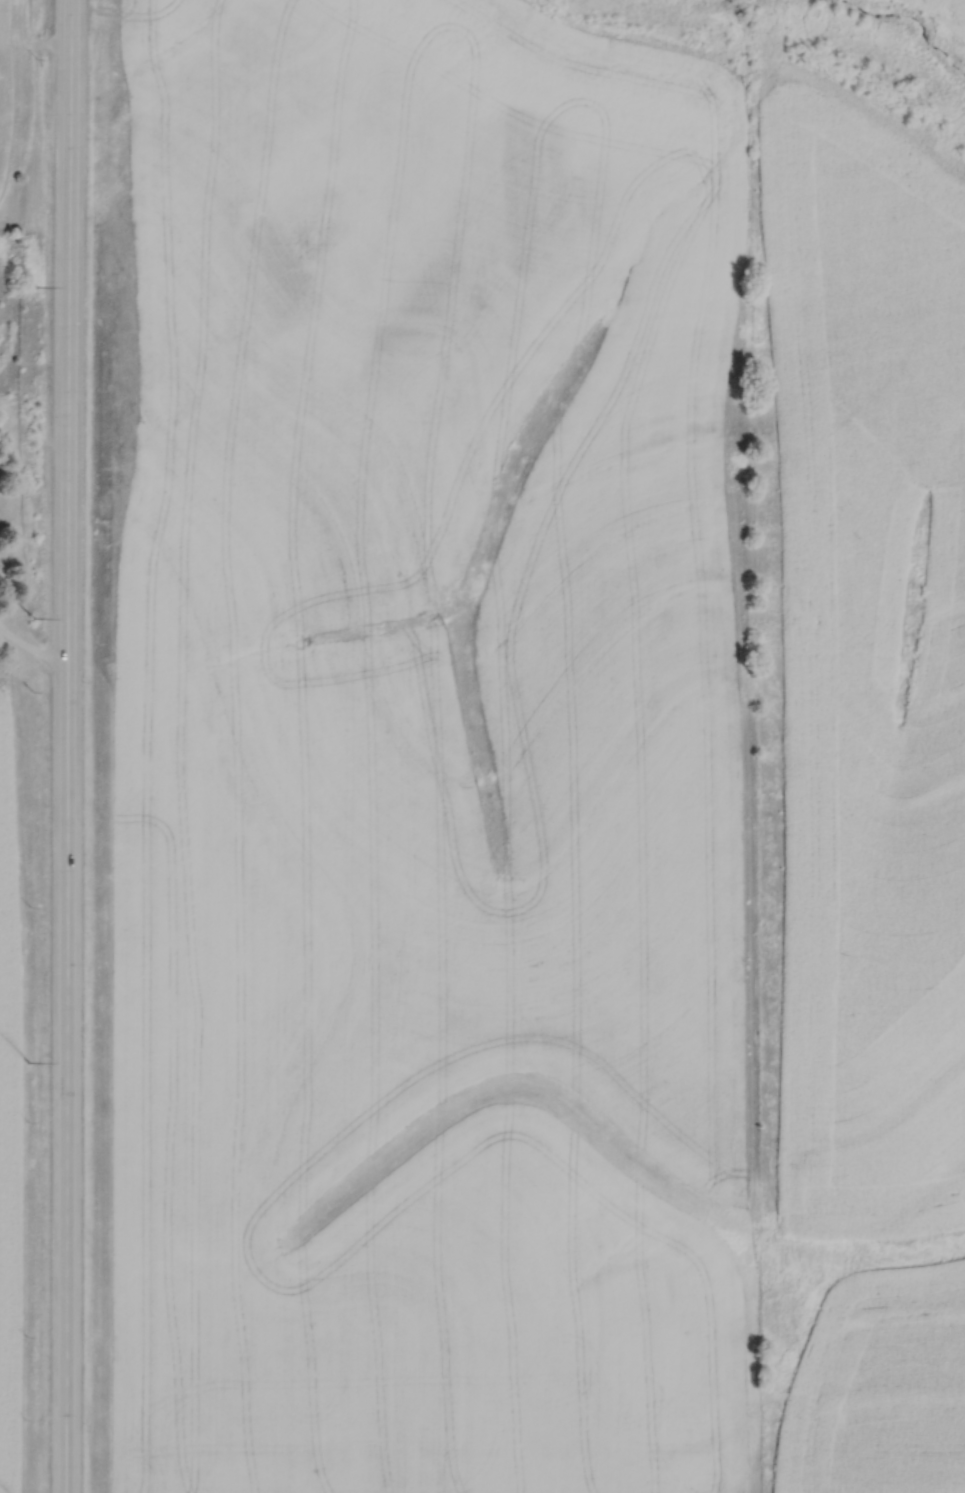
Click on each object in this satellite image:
power tower: (34, 285)
power tower: (31, 617)
road: (30, 648)
road: (65, 746)
power tower: (27, 1061)

